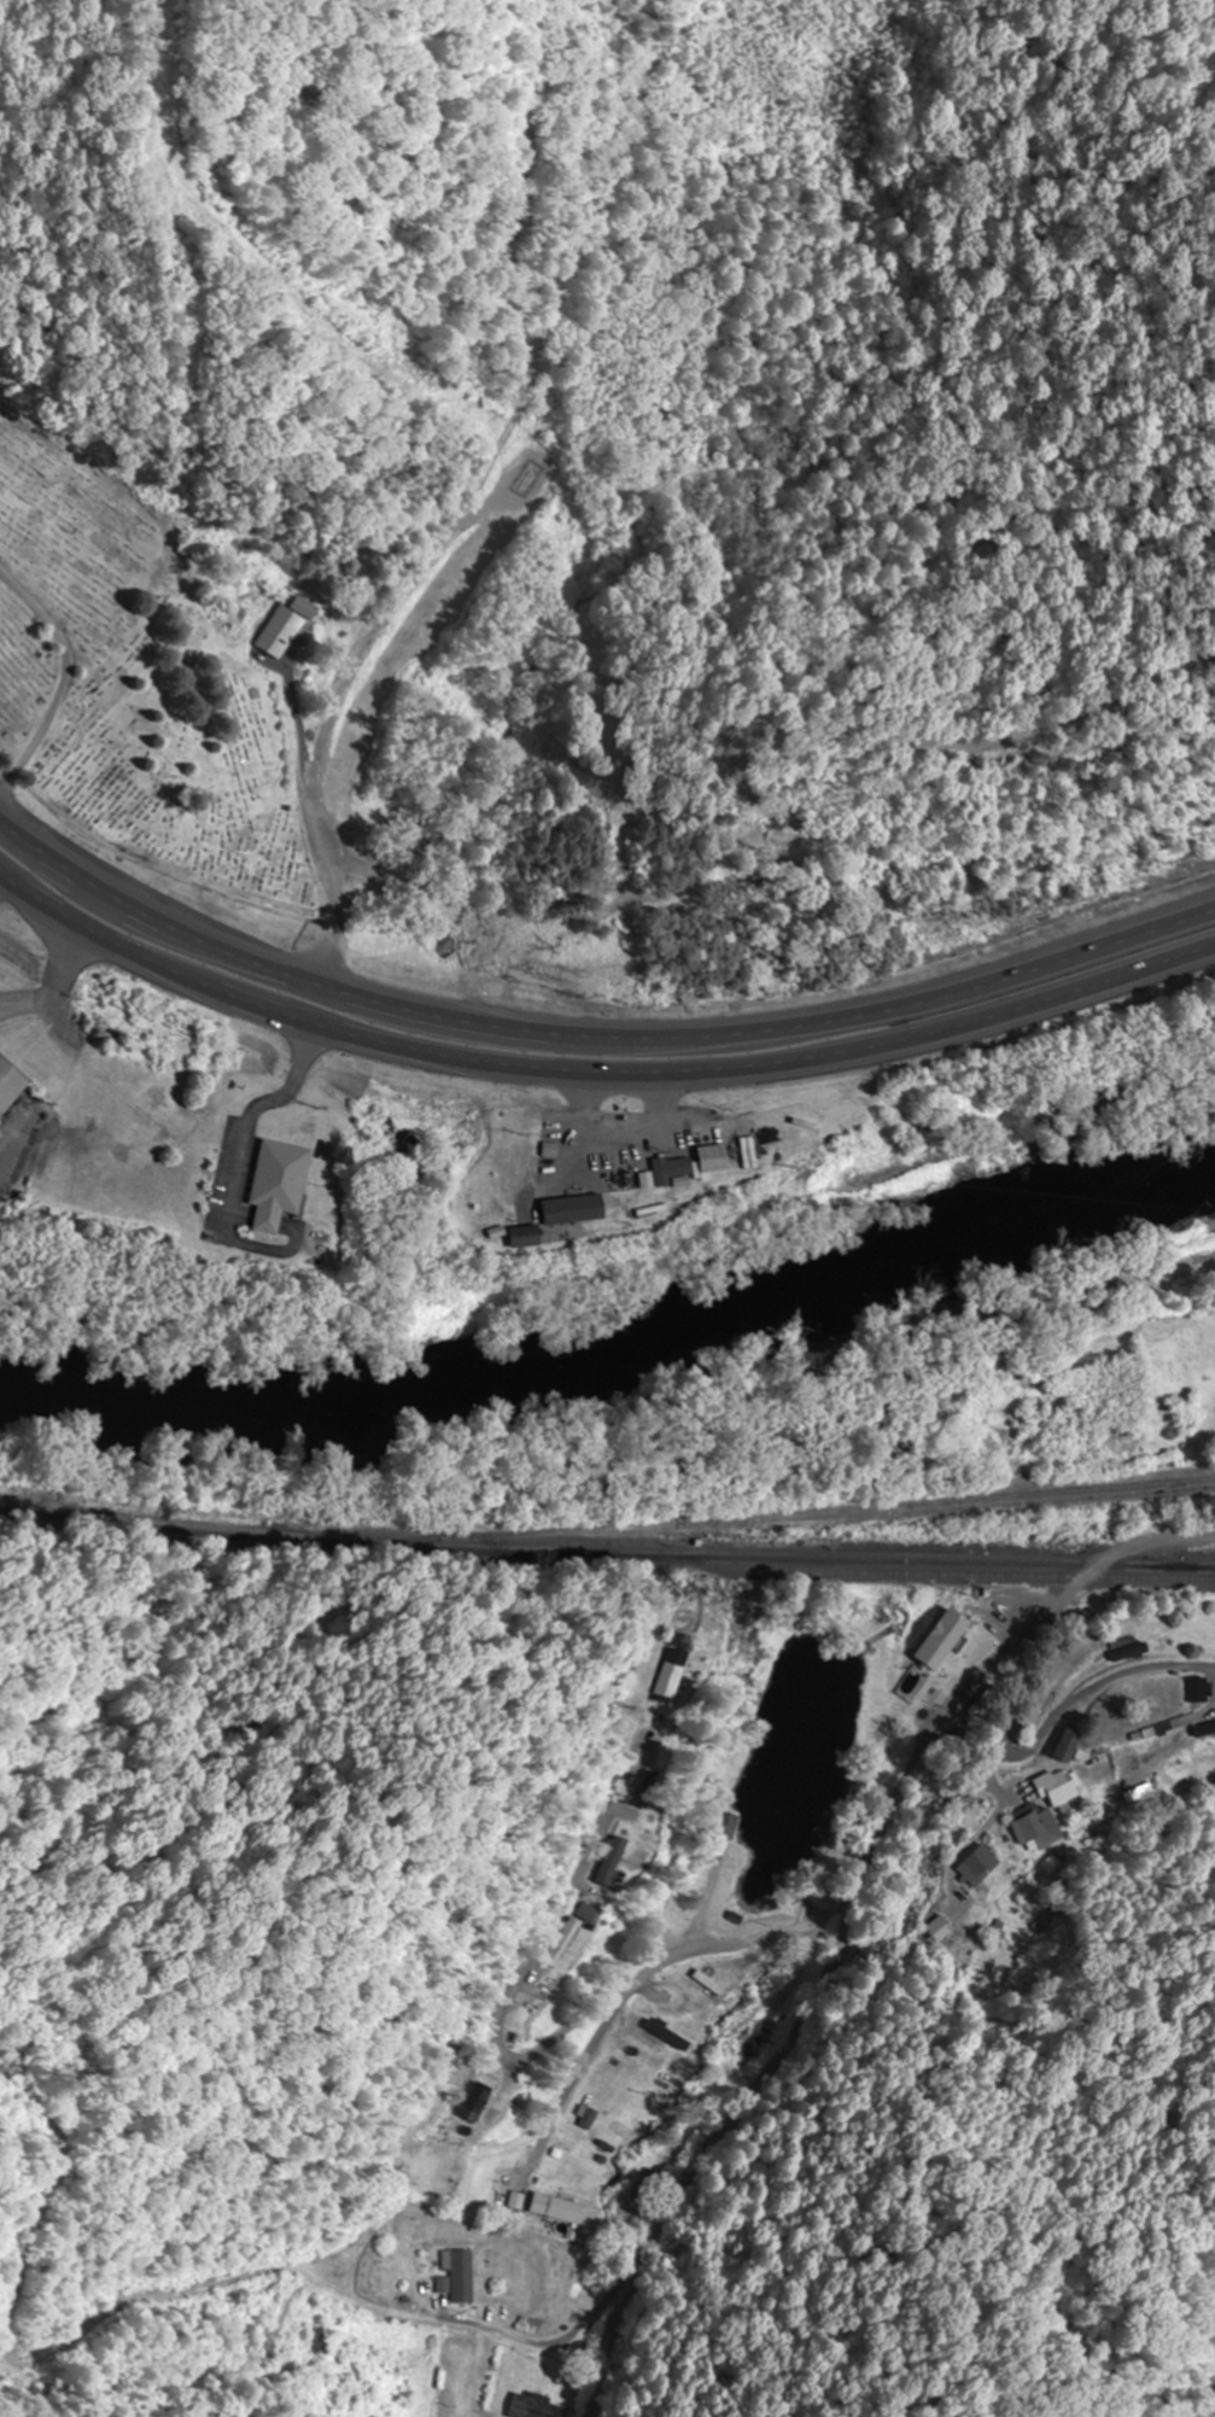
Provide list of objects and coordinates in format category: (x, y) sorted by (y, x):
building: (290, 627)
park: (135, 676)
road: (66, 681)
road: (316, 830)
road: (591, 1035)
road: (595, 1075)
building: (11, 1085)
building: (714, 1160)
building: (672, 1170)
building: (279, 1185)
building: (574, 1210)
river: (617, 1355)
railway: (883, 1532)
road: (1128, 1549)
railway: (606, 1563)
building: (962, 1651)
building: (1131, 1654)
building: (678, 1675)
building: (1203, 1692)
building: (1069, 1746)
road: (1050, 1750)
building: (1057, 1788)
building: (1036, 1831)
building: (626, 1862)
building: (976, 1868)
road: (694, 1910)
building: (578, 1944)
road: (659, 1967)
building: (711, 1984)
road: (819, 1996)
building: (668, 2036)
building: (485, 2103)
building: (559, 2209)
building: (465, 2278)
building: (323, 2342)
building: (535, 2407)

